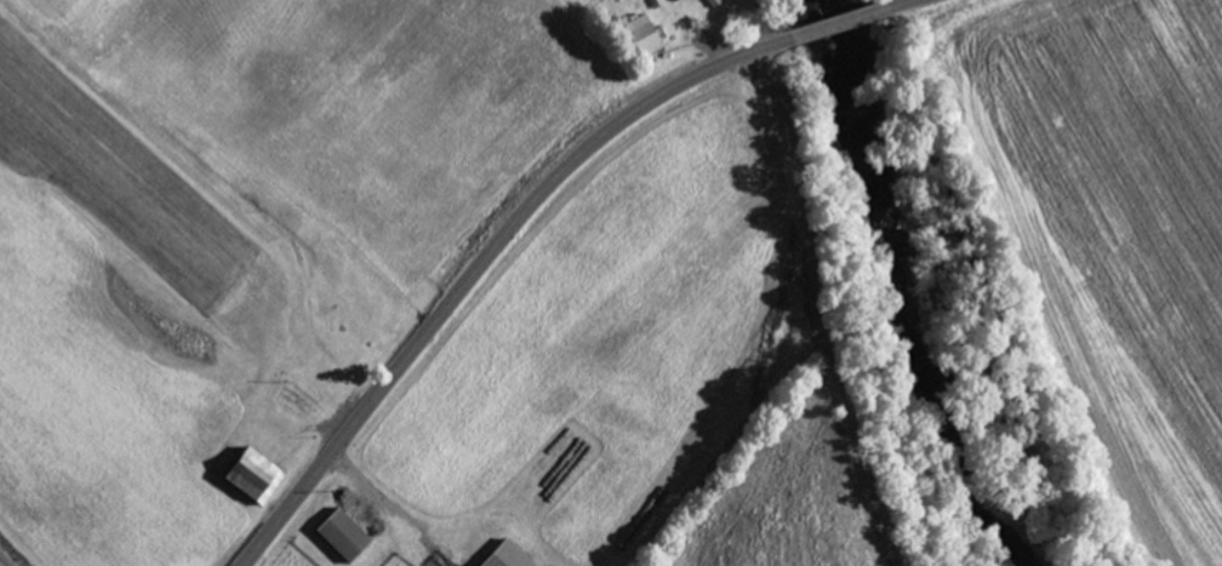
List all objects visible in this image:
road: (900, 4)
road: (839, 23)
building: (644, 36)
road: (482, 261)
river: (918, 286)
road: (813, 309)
building: (255, 475)
building: (344, 534)
building: (508, 555)
road: (6, 559)

